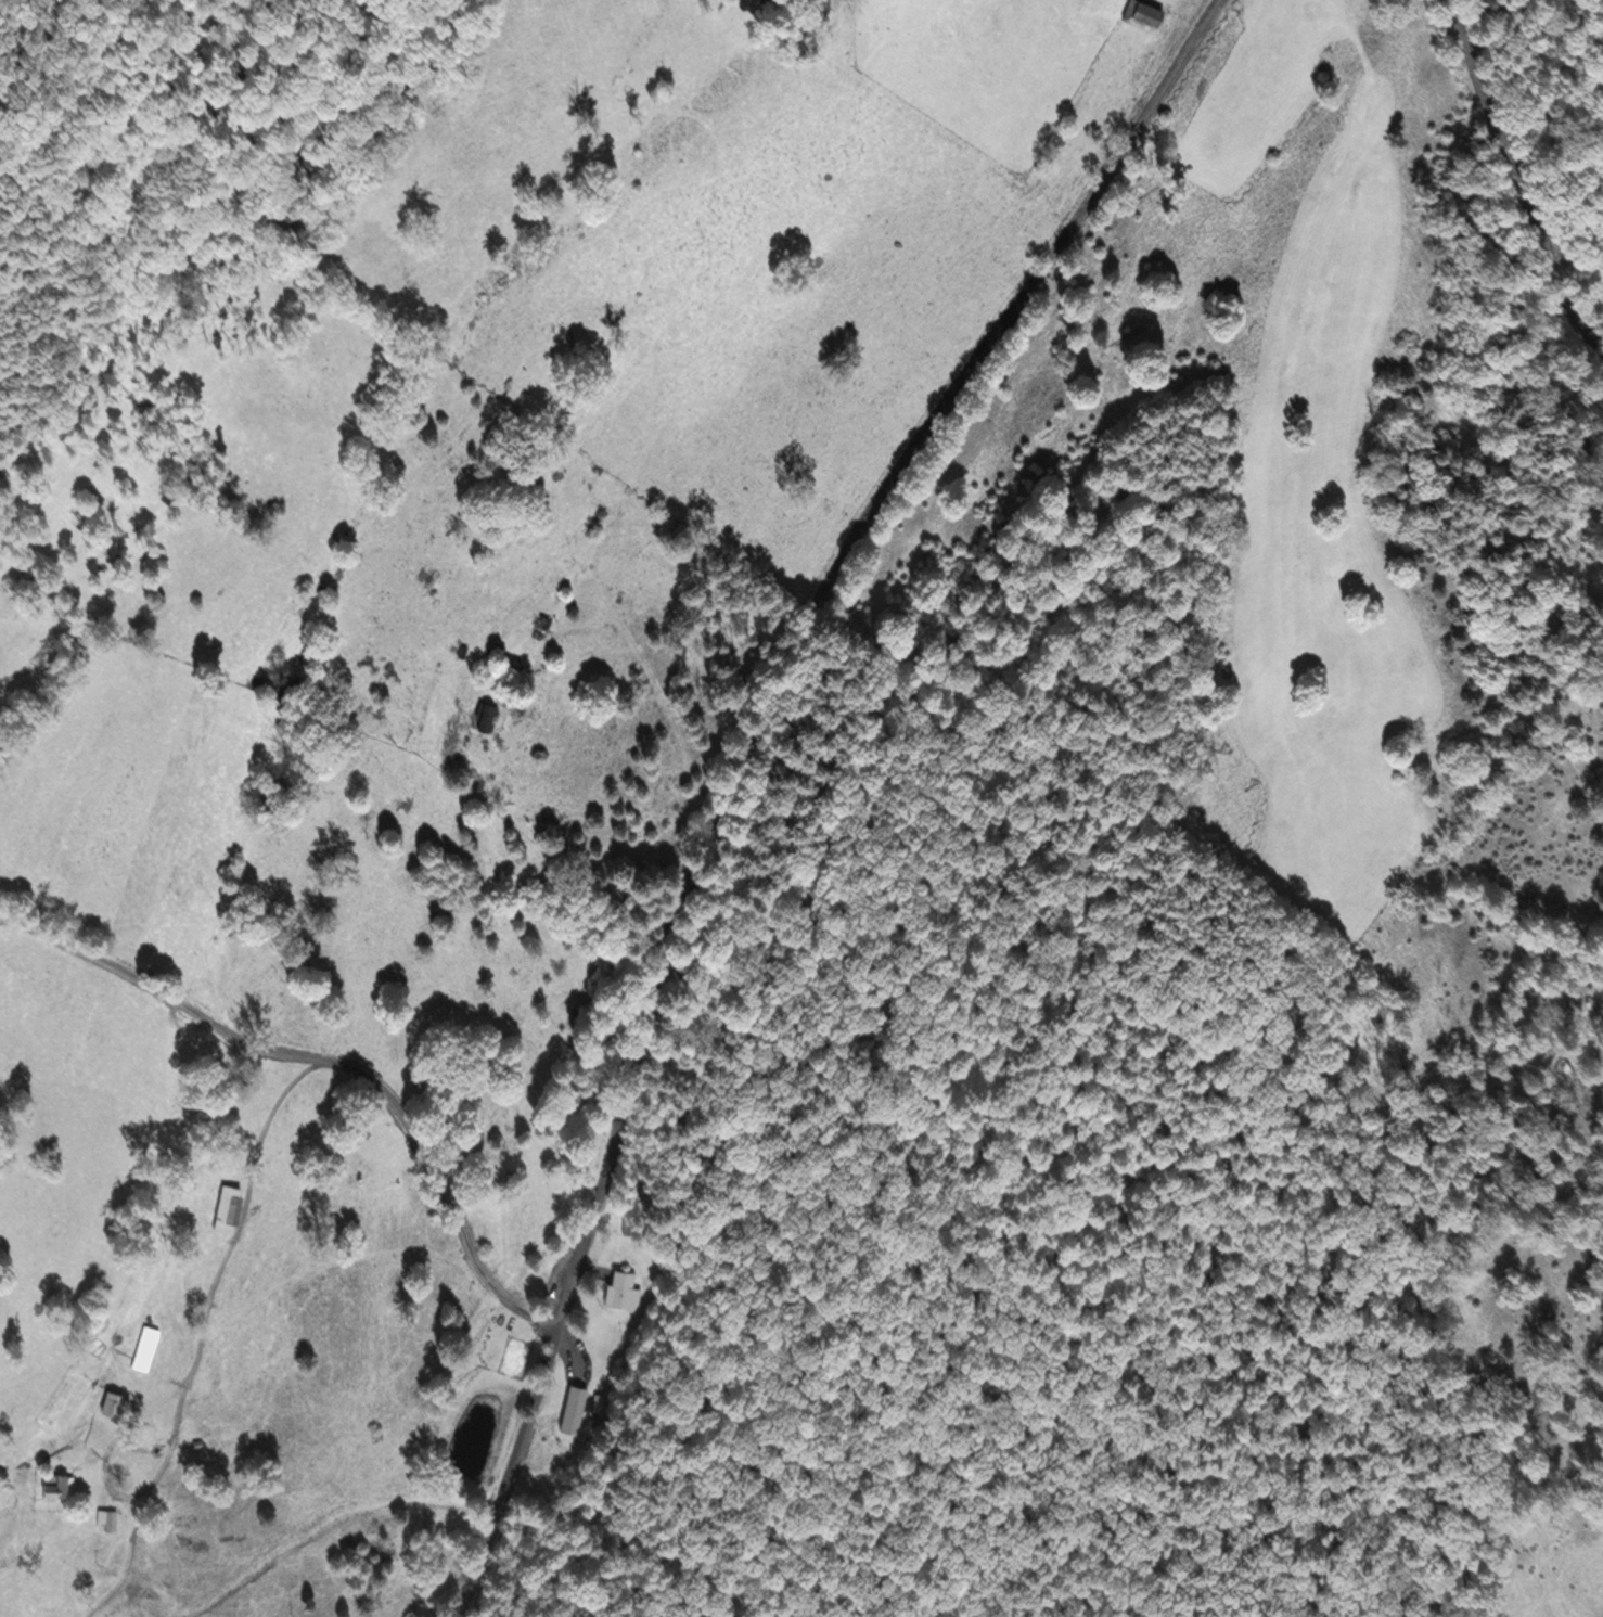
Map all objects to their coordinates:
building: (1144, 13)
road: (1531, 170)
building: (543, 623)
building: (488, 716)
road: (743, 763)
road: (332, 1057)
building: (227, 1206)
road: (241, 1212)
building: (627, 1219)
building: (621, 1286)
building: (145, 1346)
building: (575, 1399)
building: (113, 1401)
building: (56, 1485)
road: (114, 1496)
building: (107, 1517)
road: (126, 1562)
building: (42, 1597)

